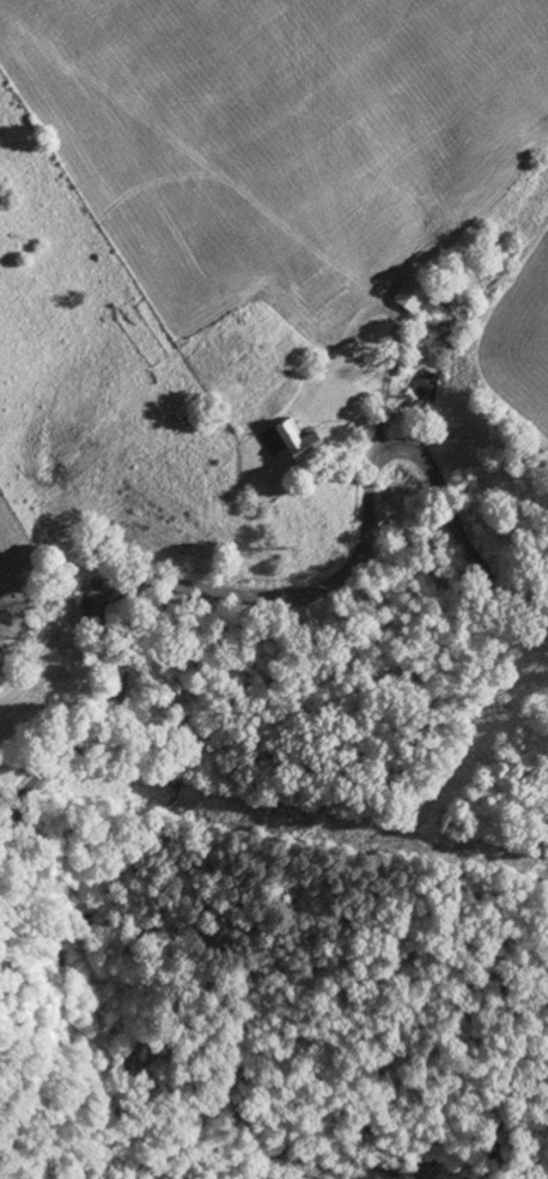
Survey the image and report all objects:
building: (409, 292)
building: (273, 308)
road: (392, 343)
building: (296, 368)
building: (287, 393)
building: (269, 406)
building: (296, 440)
road: (269, 598)

